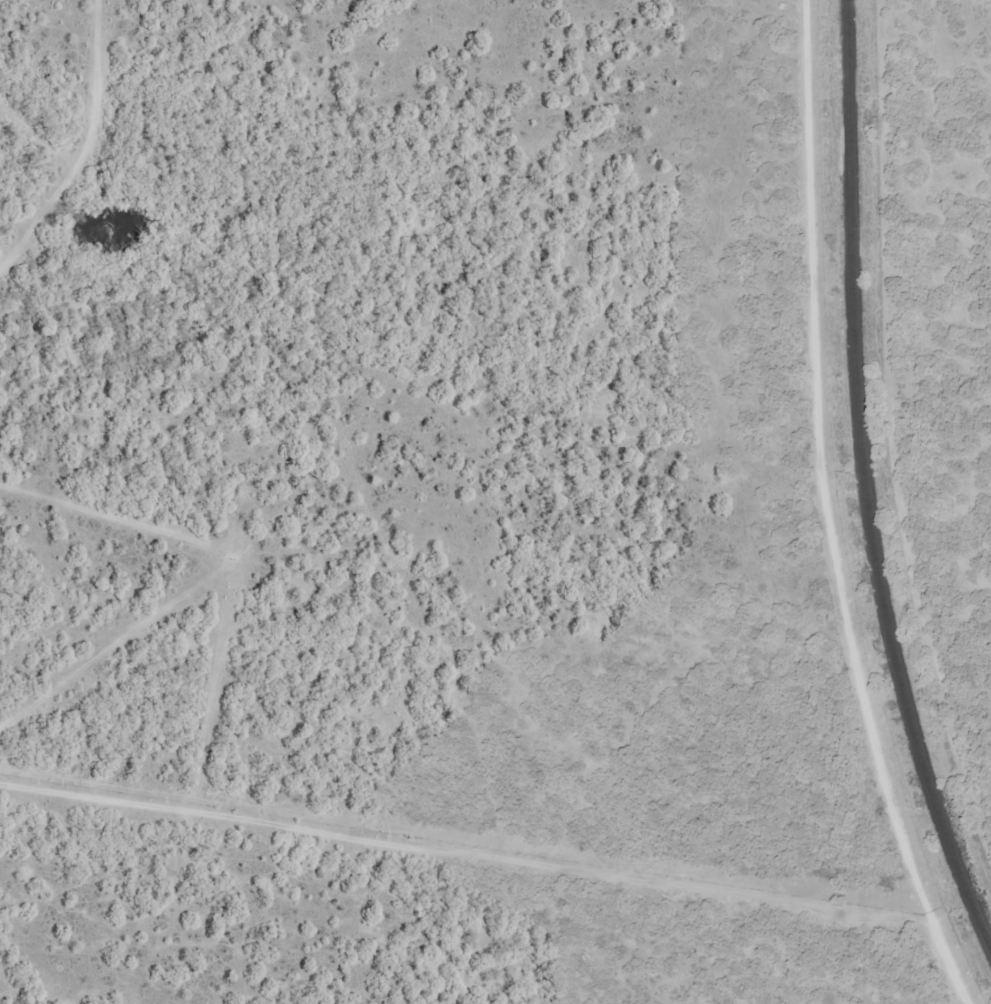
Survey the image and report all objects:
railway: (865, 485)
road: (498, 820)

